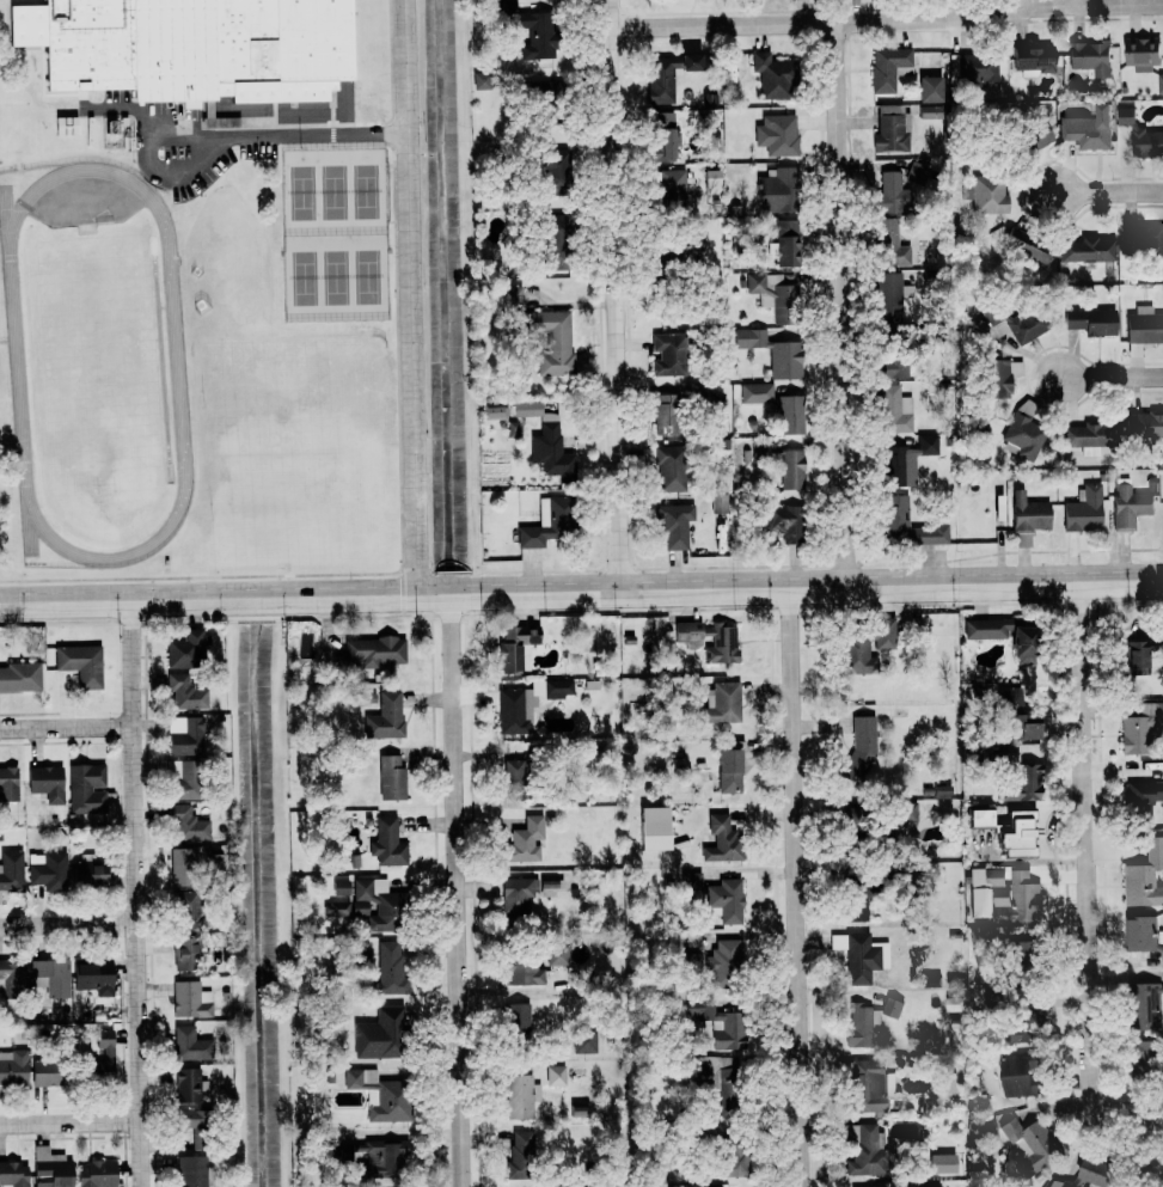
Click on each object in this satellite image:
road: (887, 22)
building: (531, 29)
building: (184, 51)
building: (1141, 53)
building: (1090, 56)
building: (691, 61)
building: (889, 67)
building: (772, 75)
building: (482, 79)
building: (661, 79)
building: (1159, 82)
building: (930, 88)
building: (930, 111)
building: (1089, 128)
building: (892, 133)
building: (1141, 134)
road: (280, 135)
building: (781, 135)
building: (663, 136)
building: (1034, 137)
building: (551, 172)
building: (712, 177)
building: (669, 185)
building: (777, 189)
road: (1109, 191)
building: (893, 192)
building: (988, 194)
park: (333, 232)
building: (696, 239)
building: (1144, 240)
building: (553, 241)
building: (786, 243)
building: (890, 244)
building: (1027, 247)
building: (1089, 249)
building: (888, 290)
road: (614, 293)
road: (408, 295)
building: (773, 295)
building: (512, 296)
road: (841, 302)
building: (1017, 320)
building: (1091, 320)
building: (1144, 325)
building: (552, 341)
building: (773, 351)
building: (668, 354)
track: (19, 363)
building: (893, 368)
building: (1002, 377)
road: (1114, 378)
building: (525, 409)
building: (894, 410)
building: (666, 414)
building: (791, 418)
building: (1144, 423)
building: (1023, 434)
building: (1090, 436)
building: (926, 443)
building: (555, 448)
building: (763, 448)
building: (667, 466)
building: (894, 466)
building: (791, 470)
building: (720, 503)
building: (1130, 504)
building: (1084, 509)
building: (1028, 518)
building: (549, 522)
building: (785, 522)
building: (907, 525)
building: (675, 526)
road: (581, 588)
building: (1008, 636)
building: (724, 642)
building: (864, 645)
building: (516, 648)
building: (186, 649)
building: (374, 651)
building: (1133, 657)
building: (81, 663)
building: (20, 677)
building: (185, 692)
building: (722, 703)
building: (527, 704)
building: (386, 717)
building: (1017, 717)
road: (66, 727)
building: (1141, 728)
building: (185, 735)
building: (861, 747)
building: (730, 771)
building: (514, 773)
building: (391, 777)
building: (183, 778)
building: (1018, 779)
building: (47, 783)
building: (8, 784)
building: (87, 788)
building: (1141, 800)
building: (907, 812)
building: (980, 818)
building: (188, 824)
building: (1017, 834)
building: (526, 840)
building: (721, 840)
building: (387, 843)
building: (182, 867)
building: (47, 869)
building: (88, 870)
building: (11, 871)
building: (1145, 876)
road: (1083, 880)
building: (691, 881)
road: (796, 886)
building: (341, 888)
building: (549, 888)
road: (454, 889)
building: (984, 889)
road: (134, 892)
building: (518, 895)
building: (856, 895)
building: (1017, 899)
building: (726, 900)
building: (377, 904)
building: (185, 908)
building: (336, 908)
road: (67, 923)
building: (1143, 935)
building: (185, 955)
building: (557, 955)
building: (857, 956)
building: (690, 960)
building: (723, 963)
building: (391, 968)
building: (522, 972)
building: (13, 974)
building: (51, 977)
building: (93, 977)
road: (510, 990)
building: (190, 999)
building: (1145, 1005)
building: (892, 1006)
building: (518, 1021)
building: (720, 1023)
building: (861, 1026)
building: (380, 1035)
building: (584, 1042)
building: (189, 1045)
building: (108, 1054)
building: (1147, 1057)
building: (13, 1067)
building: (45, 1072)
building: (712, 1072)
building: (1020, 1073)
building: (556, 1076)
building: (188, 1085)
building: (869, 1087)
building: (380, 1095)
building: (520, 1096)
road: (69, 1121)
building: (1032, 1144)
building: (863, 1150)
building: (341, 1152)
building: (519, 1156)
building: (382, 1161)
building: (735, 1161)
building: (943, 1163)
building: (50, 1168)
building: (191, 1171)
building: (14, 1174)
building: (97, 1174)
building: (1090, 1174)
building: (931, 1185)
building: (880, 1186)

